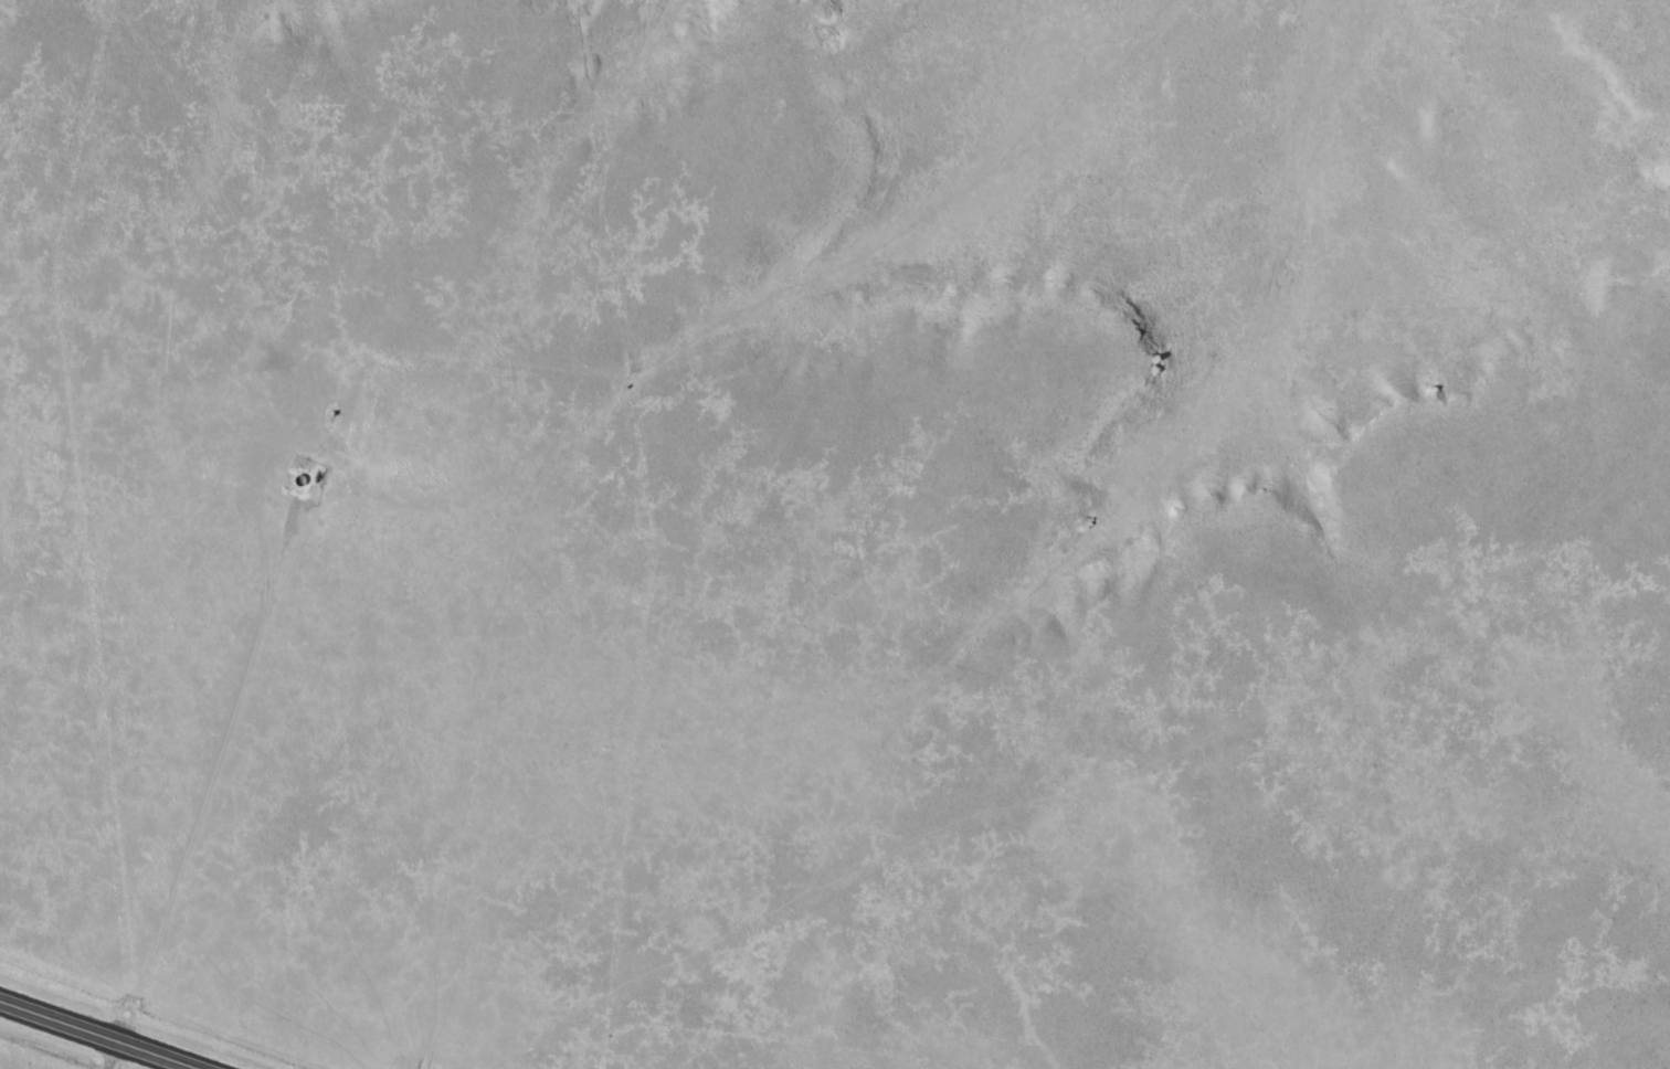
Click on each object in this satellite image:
road: (97, 1035)

